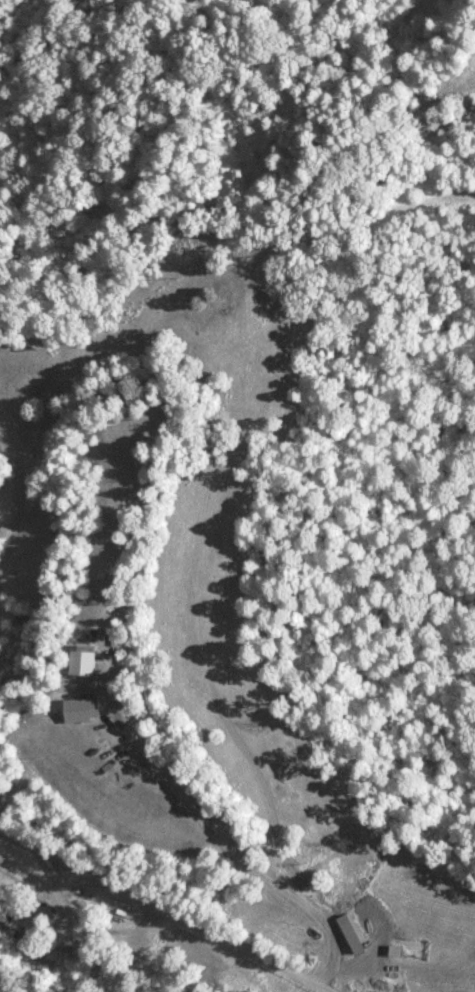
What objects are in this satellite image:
building: (79, 710)
road: (167, 909)

